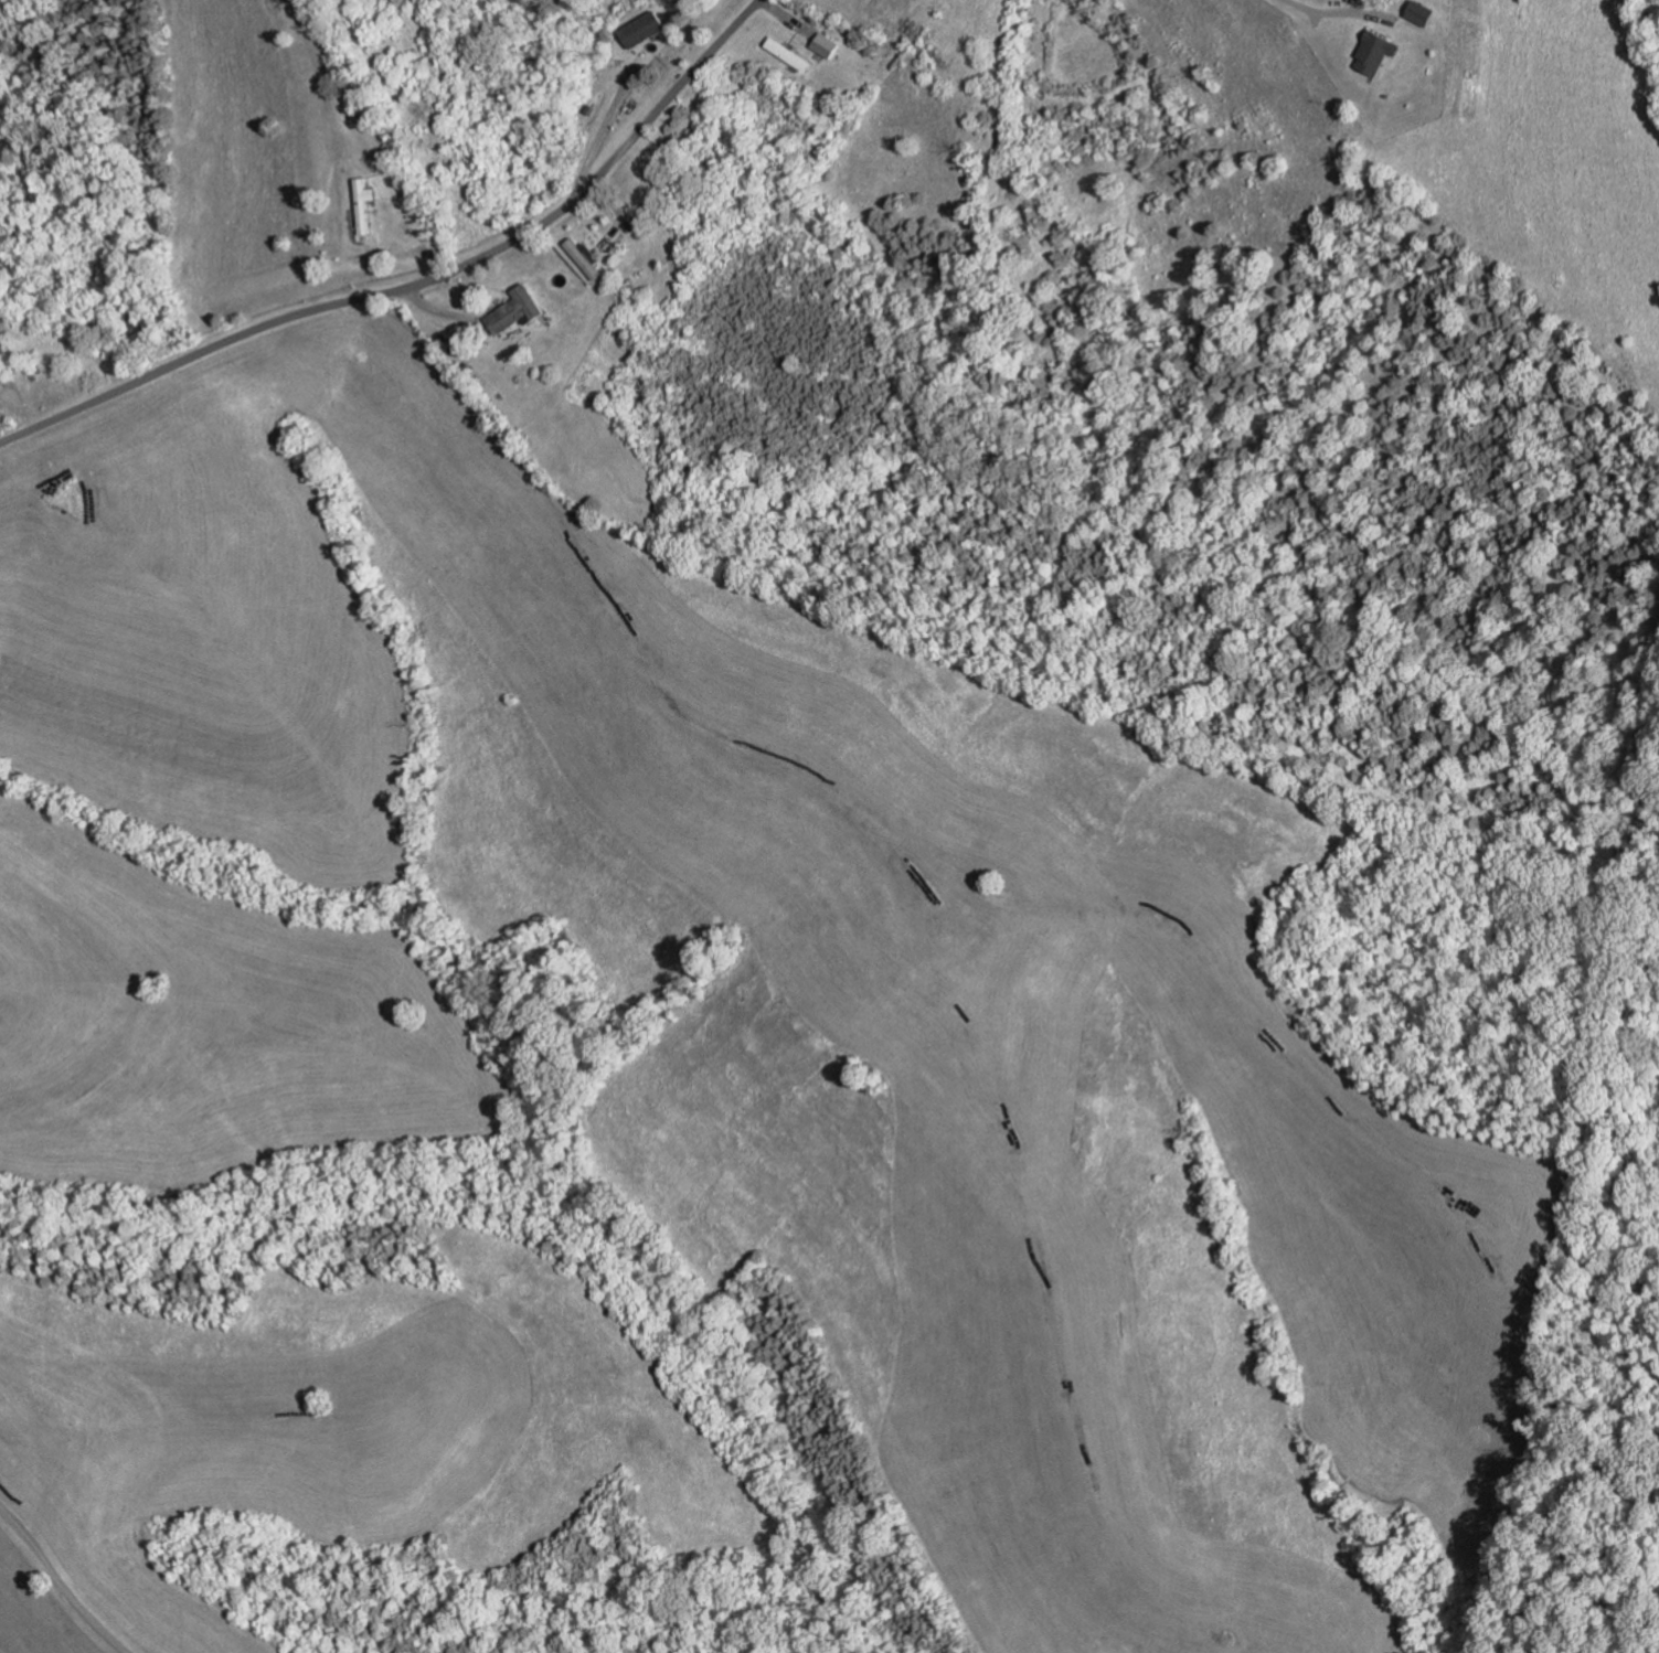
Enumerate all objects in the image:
road: (1330, 11)
building: (1419, 12)
road: (785, 17)
road: (1316, 19)
building: (645, 30)
building: (821, 45)
road: (644, 47)
building: (1374, 52)
building: (784, 53)
building: (364, 111)
road: (599, 132)
building: (387, 150)
building: (366, 204)
road: (621, 218)
road: (411, 249)
building: (584, 257)
road: (419, 284)
building: (617, 287)
road: (435, 309)
building: (521, 310)
building: (134, 327)
road: (60, 1581)

